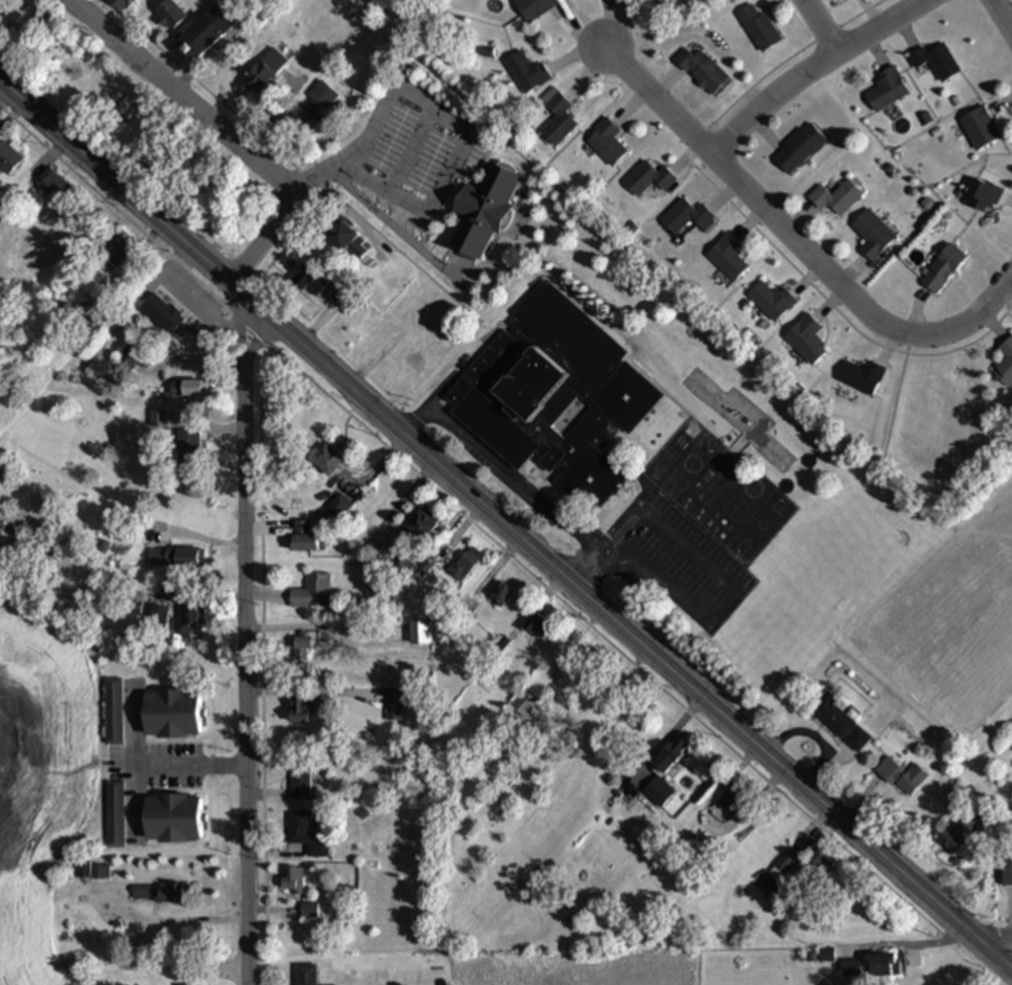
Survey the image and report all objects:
building: (121, 4)
building: (535, 8)
building: (171, 16)
road: (1003, 19)
road: (825, 25)
building: (760, 28)
building: (207, 32)
building: (323, 32)
building: (938, 61)
building: (703, 71)
road: (816, 71)
building: (266, 72)
building: (528, 73)
building: (888, 89)
building: (314, 105)
building: (128, 112)
building: (559, 121)
park: (134, 124)
building: (981, 128)
road: (233, 140)
building: (607, 142)
building: (800, 148)
building: (9, 158)
road: (349, 173)
building: (648, 179)
building: (1, 183)
building: (55, 185)
building: (983, 196)
building: (837, 197)
building: (484, 211)
building: (686, 216)
building: (874, 235)
road: (796, 239)
building: (349, 241)
building: (119, 248)
building: (729, 257)
building: (944, 269)
building: (310, 280)
building: (772, 301)
building: (161, 313)
building: (81, 317)
building: (807, 340)
building: (130, 357)
building: (1005, 365)
building: (862, 376)
building: (189, 388)
building: (554, 397)
road: (897, 397)
building: (159, 423)
building: (189, 445)
building: (327, 459)
road: (541, 499)
building: (421, 524)
road: (507, 527)
building: (304, 537)
building: (177, 557)
building: (470, 561)
building: (313, 592)
building: (501, 594)
building: (156, 617)
building: (188, 623)
building: (539, 628)
building: (421, 632)
road: (243, 638)
building: (303, 645)
building: (525, 705)
building: (305, 710)
building: (113, 711)
building: (172, 714)
building: (833, 717)
building: (858, 739)
building: (671, 754)
road: (190, 766)
building: (903, 776)
building: (301, 780)
building: (659, 791)
building: (116, 814)
building: (173, 818)
building: (961, 830)
building: (306, 835)
building: (823, 862)
building: (782, 868)
building: (1010, 869)
building: (94, 872)
building: (294, 880)
building: (169, 894)
building: (314, 911)
road: (987, 928)
building: (882, 965)
building: (306, 975)

